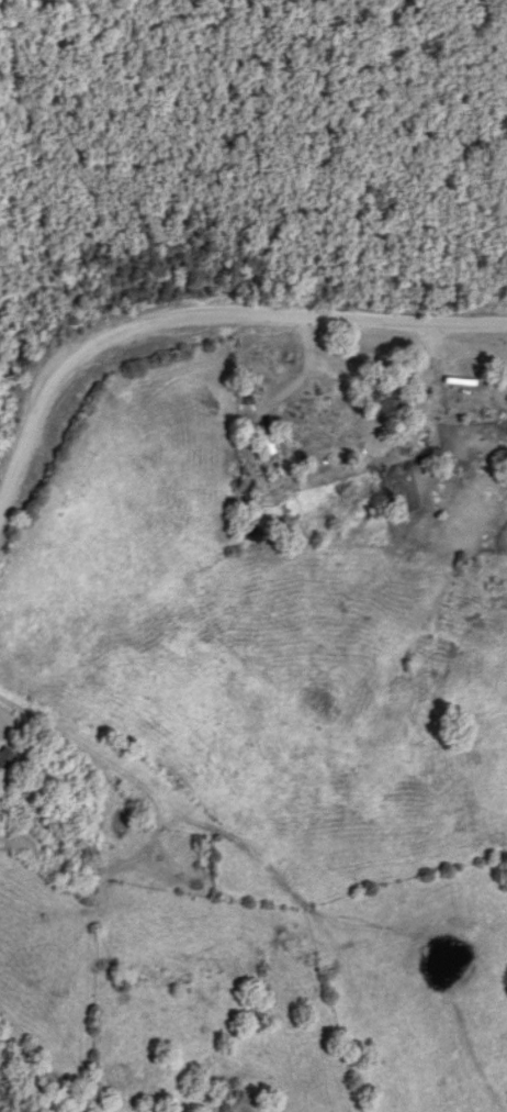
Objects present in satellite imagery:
road: (337, 318)
road: (52, 398)
building: (7, 758)
road: (101, 776)

